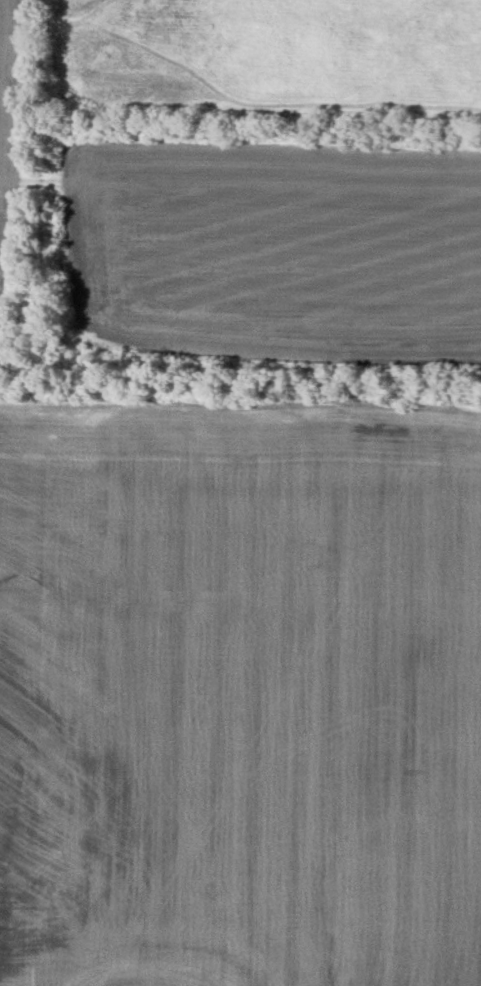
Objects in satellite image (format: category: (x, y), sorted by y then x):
crop: (272, 56)
crop: (11, 131)
crop: (274, 248)
crop: (240, 690)

